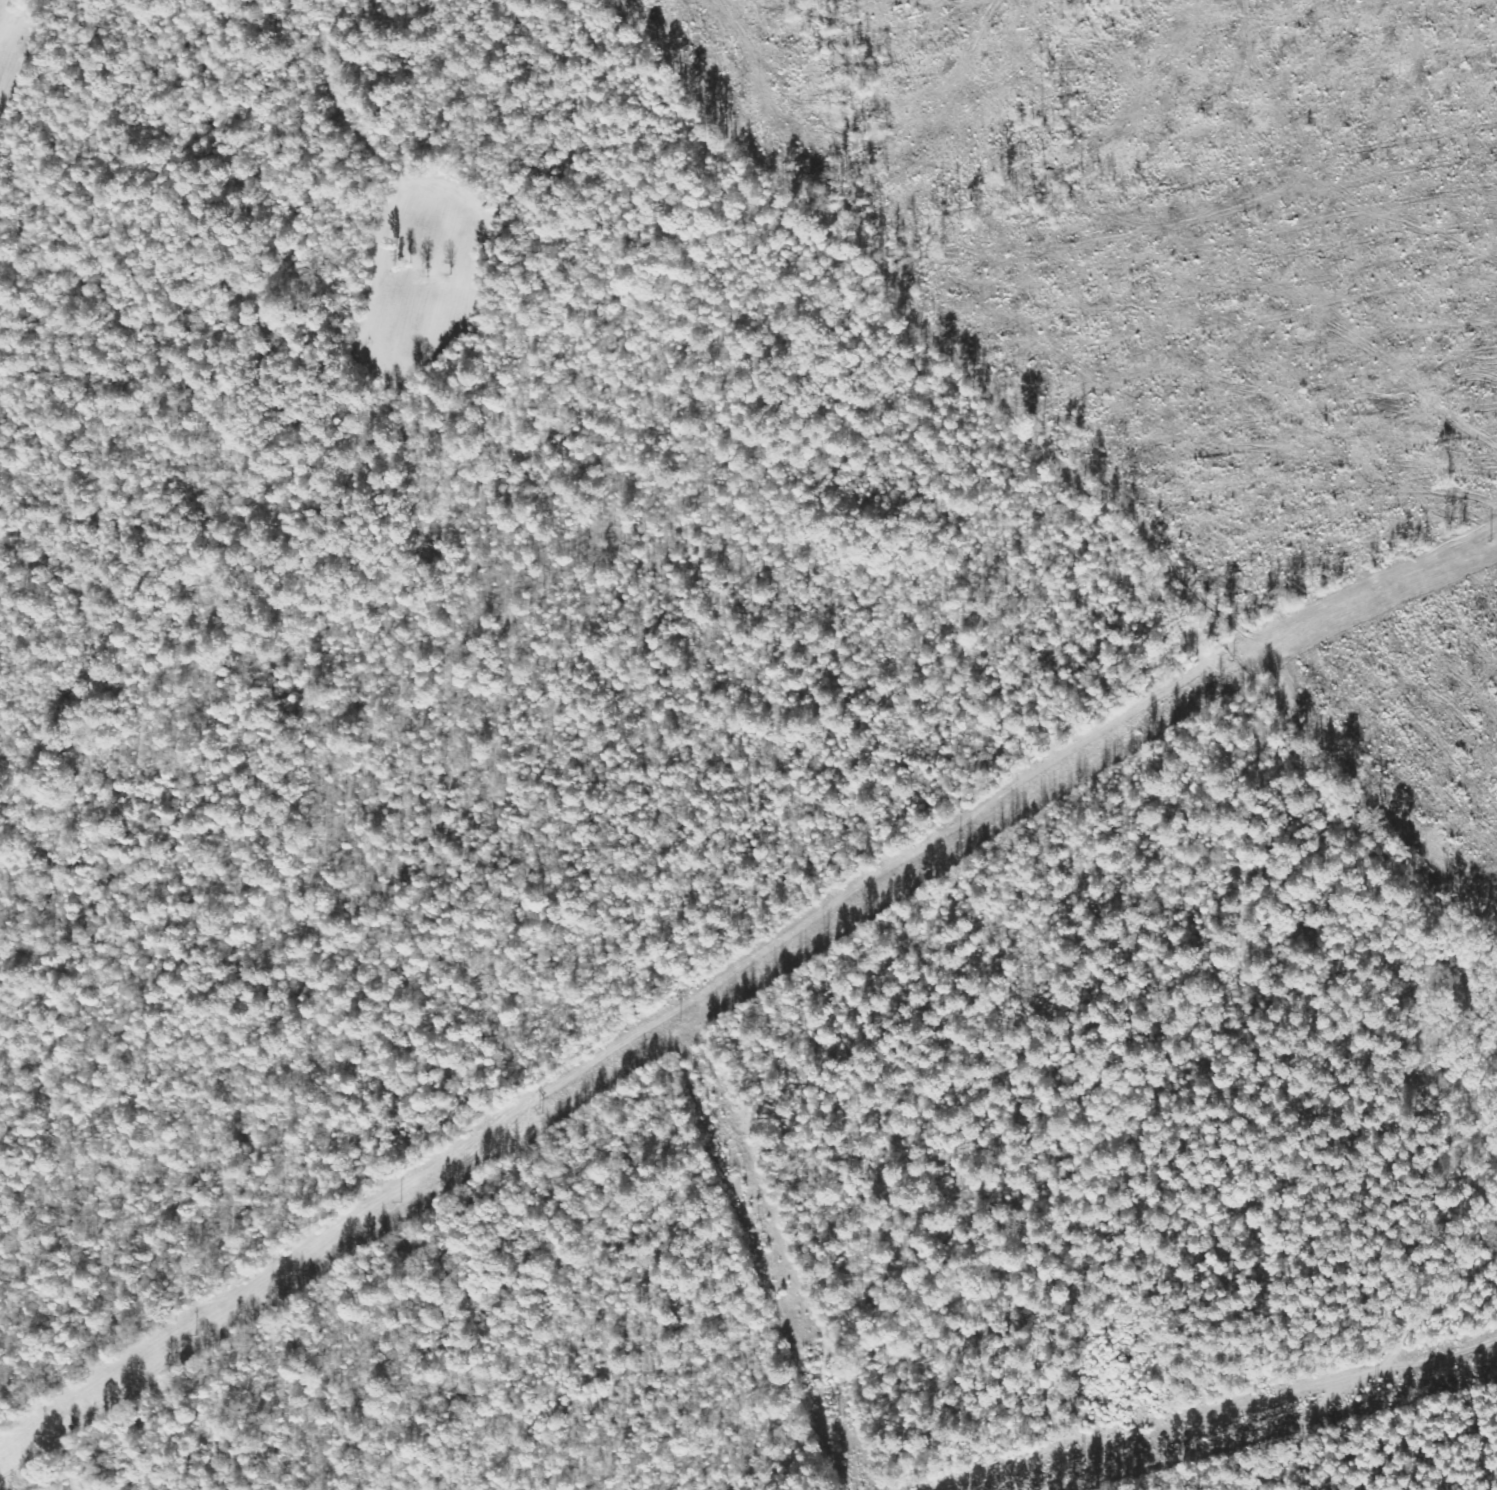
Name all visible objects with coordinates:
power tower: (1378, 1390)
power tower: (1074, 1469)

